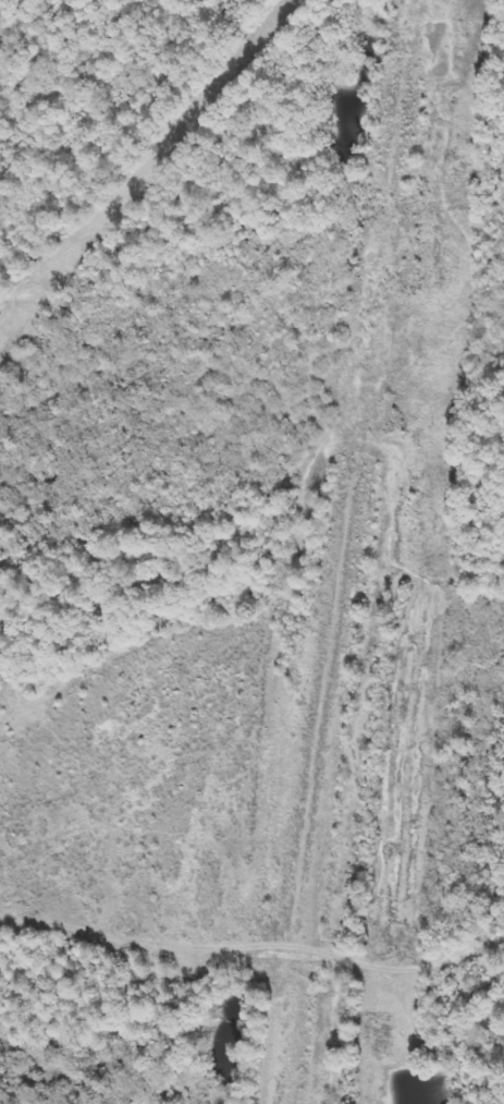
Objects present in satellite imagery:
road: (254, 946)

